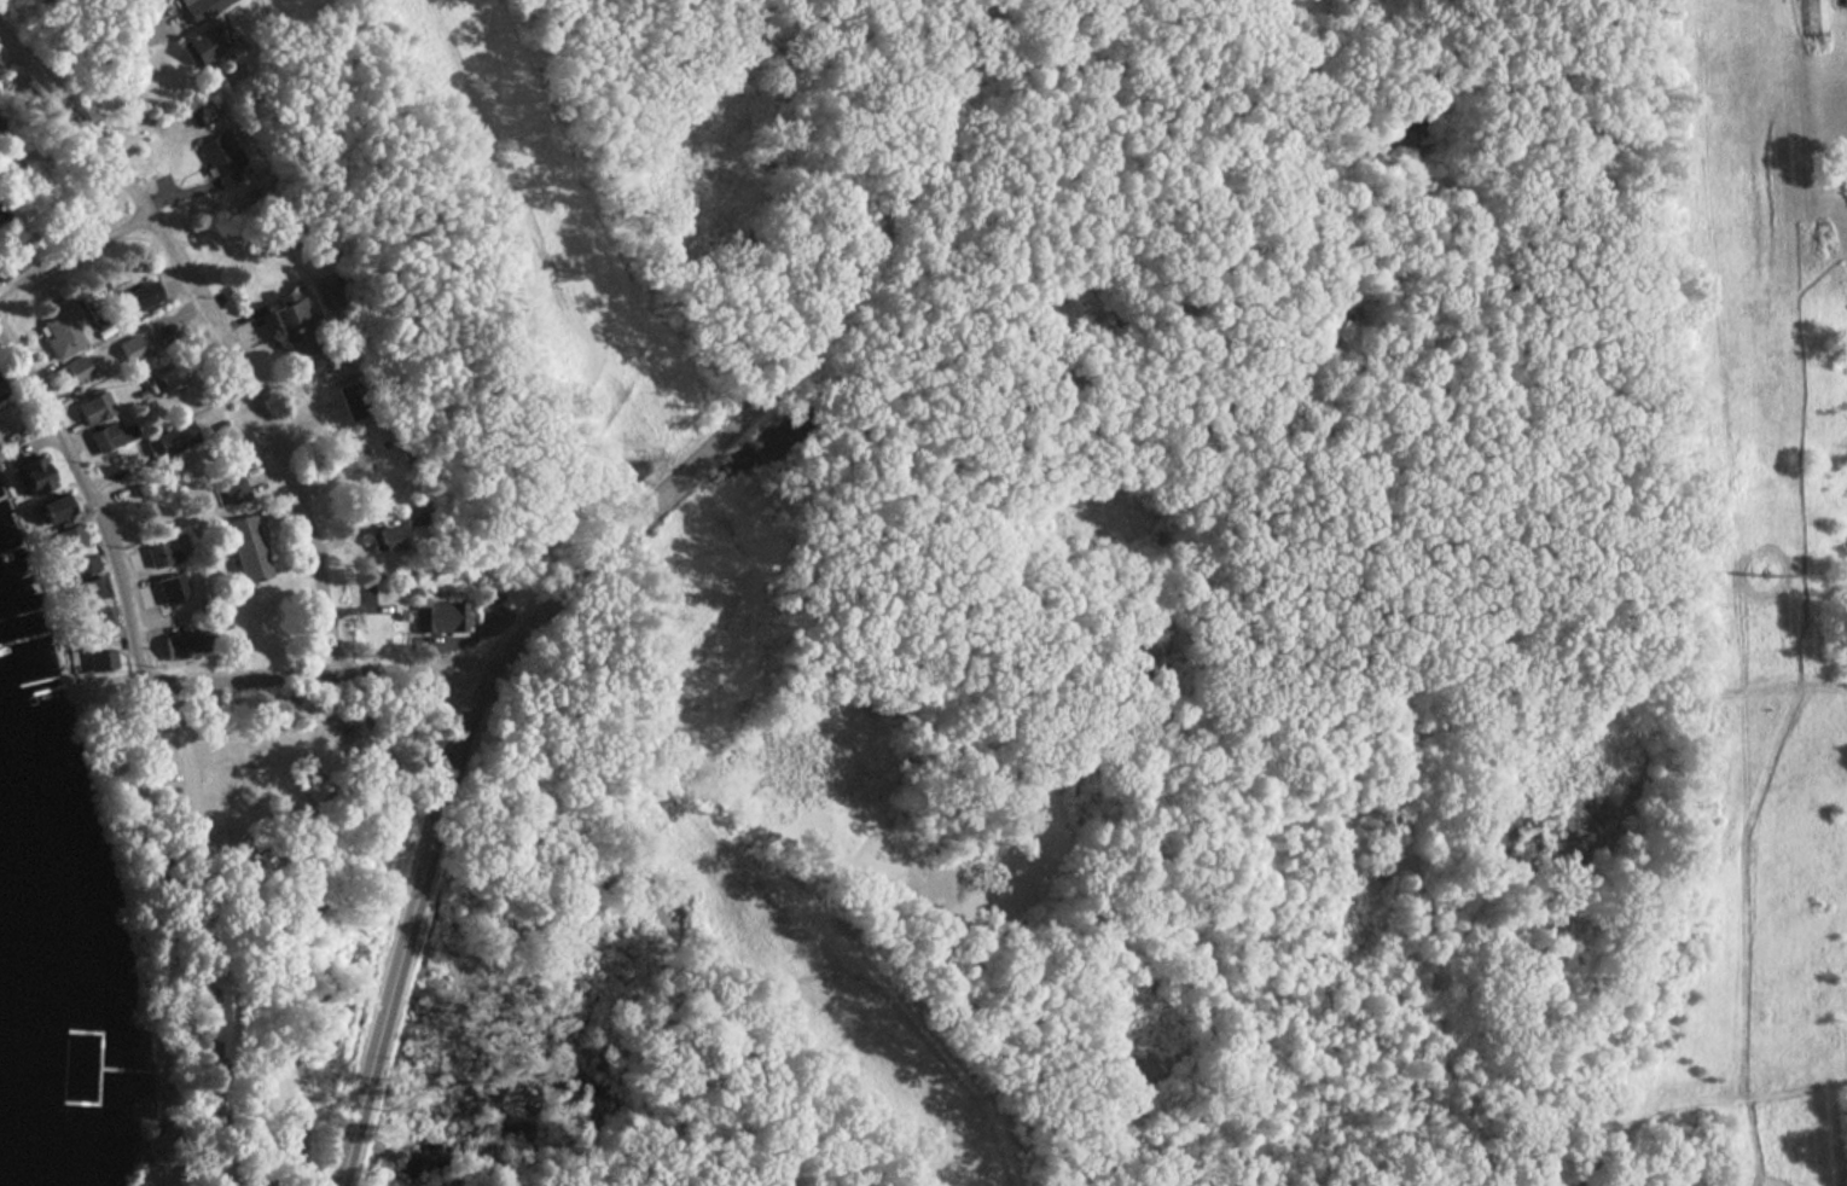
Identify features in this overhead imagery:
building: (202, 7)
building: (1813, 17)
building: (198, 48)
building: (0, 128)
building: (222, 159)
road: (77, 261)
building: (12, 263)
building: (139, 296)
building: (290, 315)
road: (216, 322)
building: (58, 337)
building: (133, 348)
building: (314, 366)
building: (74, 370)
road: (789, 372)
building: (0, 390)
building: (350, 401)
building: (93, 408)
building: (110, 437)
building: (174, 438)
building: (349, 454)
building: (35, 483)
building: (232, 489)
road: (95, 506)
building: (48, 508)
building: (413, 518)
building: (383, 535)
building: (66, 539)
building: (243, 547)
building: (163, 553)
power tower: (1764, 577)
building: (173, 588)
building: (92, 589)
building: (191, 589)
building: (366, 599)
building: (436, 616)
building: (94, 618)
building: (176, 645)
building: (97, 657)
road: (326, 673)
building: (318, 790)
building: (216, 841)
road: (410, 926)
building: (223, 1021)

